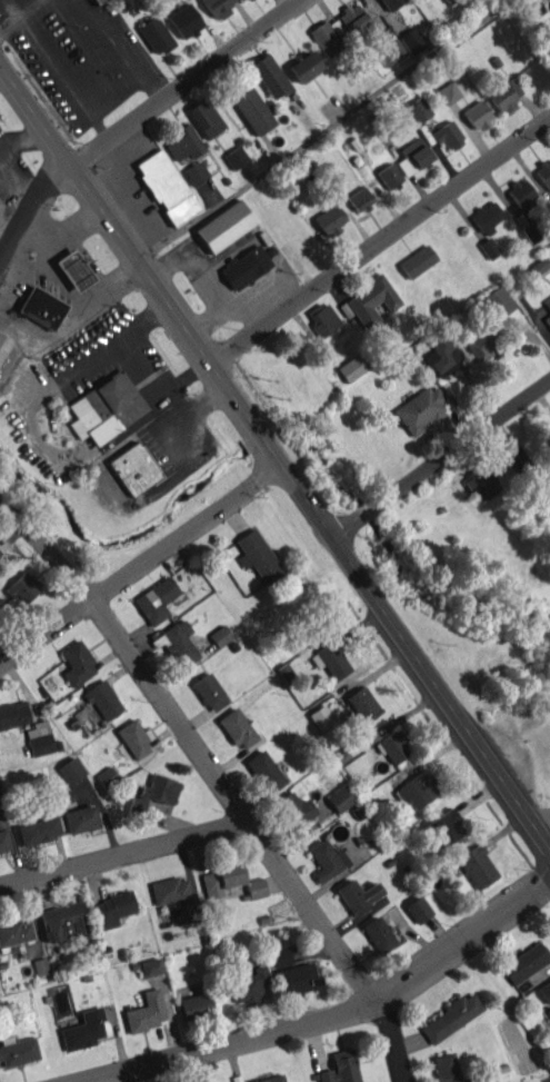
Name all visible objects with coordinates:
building: (241, 0)
building: (98, 1)
building: (391, 3)
building: (217, 7)
road: (21, 17)
building: (352, 17)
building: (184, 20)
building: (543, 33)
building: (156, 34)
building: (329, 36)
building: (413, 42)
building: (391, 52)
building: (304, 66)
building: (270, 76)
building: (450, 90)
building: (504, 93)
building: (417, 109)
building: (253, 110)
building: (477, 115)
building: (204, 116)
road: (138, 125)
road: (321, 129)
building: (448, 135)
road: (20, 136)
building: (183, 142)
building: (413, 156)
building: (236, 157)
building: (196, 172)
building: (544, 172)
building: (388, 175)
road: (22, 187)
building: (167, 187)
building: (521, 193)
building: (359, 198)
building: (488, 217)
building: (330, 219)
building: (224, 226)
road: (68, 228)
road: (380, 242)
building: (489, 247)
building: (417, 261)
building: (537, 266)
building: (246, 267)
building: (73, 269)
building: (369, 301)
building: (497, 301)
road: (81, 302)
building: (41, 307)
building: (548, 307)
building: (322, 318)
building: (482, 344)
building: (3, 345)
building: (444, 353)
road: (142, 365)
building: (352, 366)
building: (106, 407)
building: (420, 408)
building: (548, 439)
road: (276, 455)
building: (514, 456)
road: (440, 457)
building: (133, 467)
building: (480, 484)
road: (186, 532)
building: (257, 555)
building: (18, 593)
building: (156, 599)
road: (44, 627)
building: (220, 635)
building: (180, 642)
building: (330, 659)
building: (77, 663)
building: (209, 692)
building: (102, 698)
building: (362, 704)
building: (13, 714)
building: (321, 717)
building: (238, 727)
building: (134, 737)
building: (39, 738)
building: (394, 745)
road: (196, 747)
building: (70, 770)
building: (264, 771)
building: (108, 774)
building: (417, 788)
building: (158, 790)
building: (340, 797)
building: (0, 801)
building: (294, 807)
building: (80, 818)
building: (442, 828)
building: (38, 830)
building: (3, 841)
road: (122, 856)
building: (322, 861)
building: (477, 865)
building: (220, 878)
building: (254, 887)
building: (169, 889)
building: (358, 895)
building: (112, 909)
building: (418, 909)
building: (63, 921)
building: (16, 932)
building: (378, 934)
building: (280, 955)
building: (524, 961)
building: (40, 965)
building: (150, 966)
building: (298, 977)
building: (248, 985)
building: (544, 991)
building: (194, 1005)
building: (548, 1009)
building: (146, 1011)
road: (342, 1015)
building: (449, 1016)
building: (82, 1030)
road: (390, 1043)
building: (17, 1050)
building: (340, 1066)
building: (447, 1068)
building: (272, 1080)

